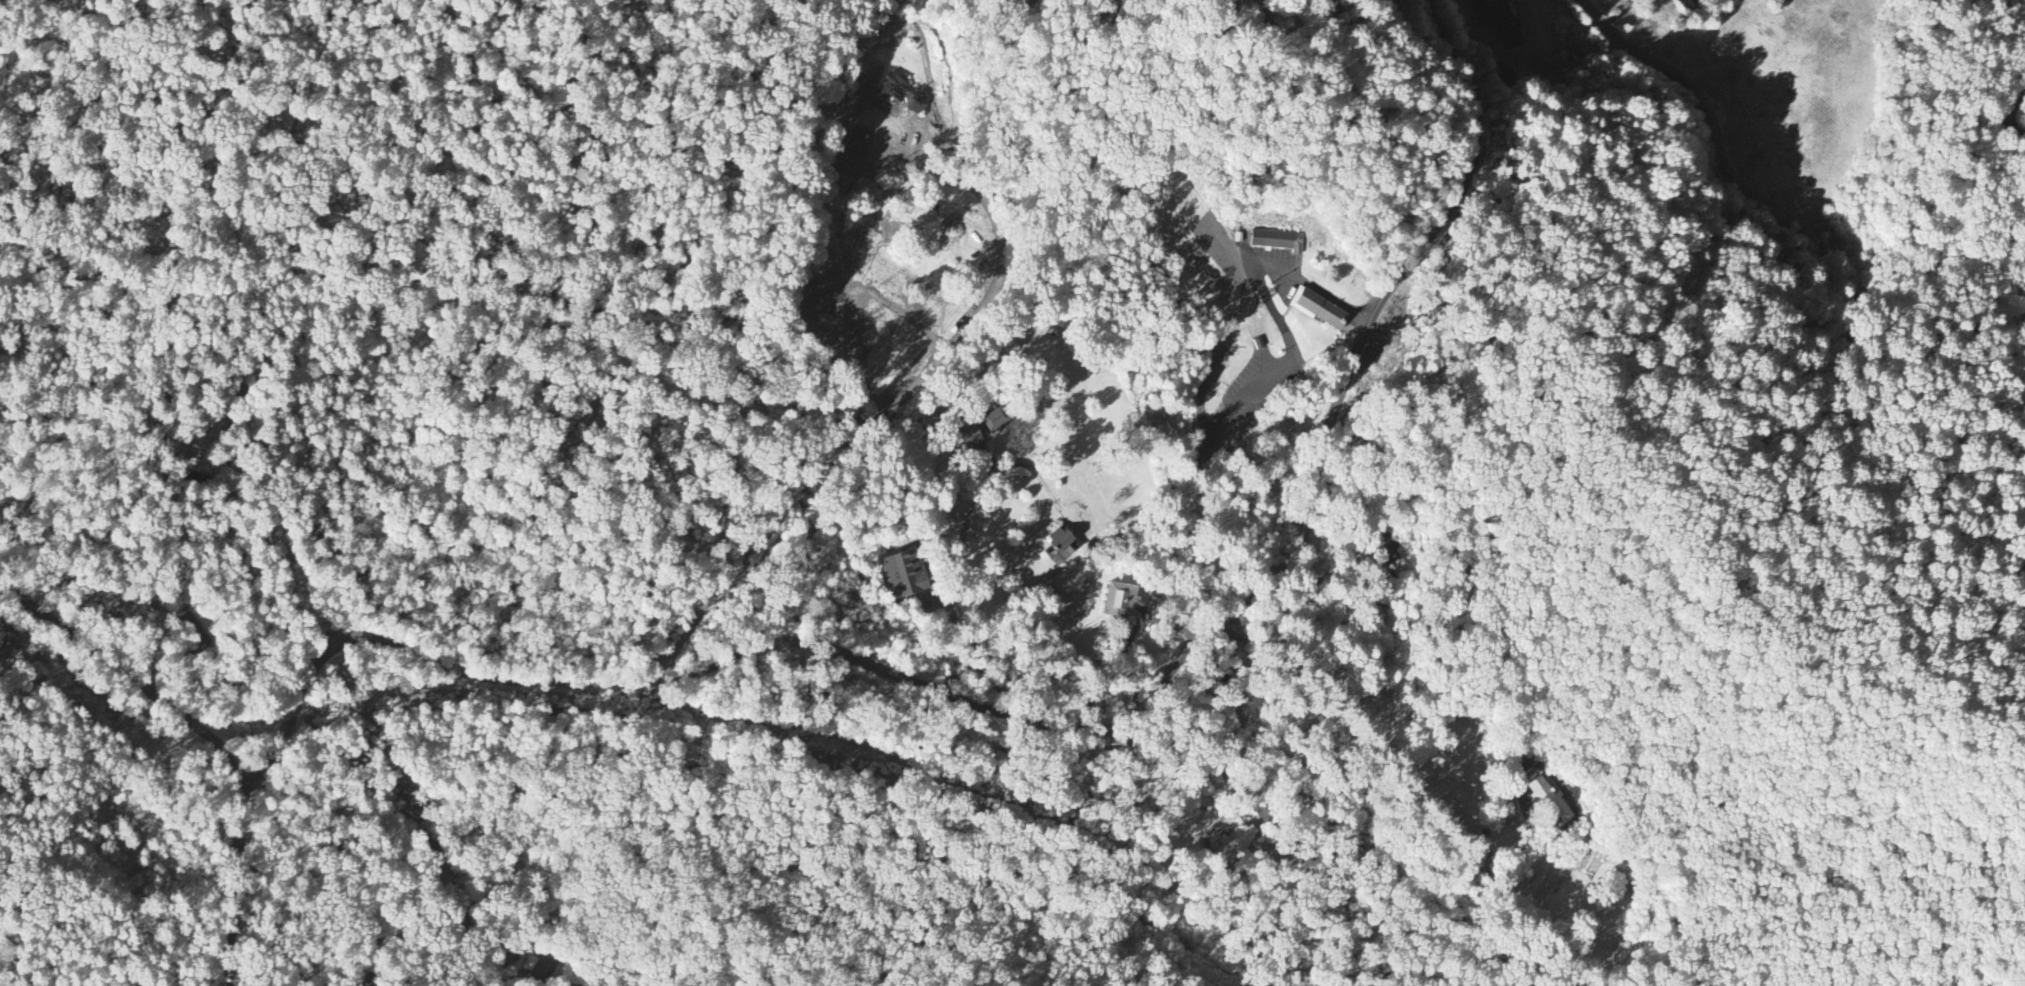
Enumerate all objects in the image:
building: (1502, 20)
road: (1411, 84)
building: (907, 91)
road: (2011, 112)
building: (857, 138)
building: (1279, 238)
park: (1340, 265)
building: (1321, 305)
road: (958, 336)
building: (995, 415)
building: (970, 431)
building: (205, 432)
building: (1063, 539)
building: (1386, 541)
building: (904, 570)
road: (731, 593)
building: (1125, 597)
road: (953, 617)
road: (1053, 721)
road: (210, 736)
road: (1401, 782)
building: (1550, 796)
building: (1236, 839)
building: (543, 965)

